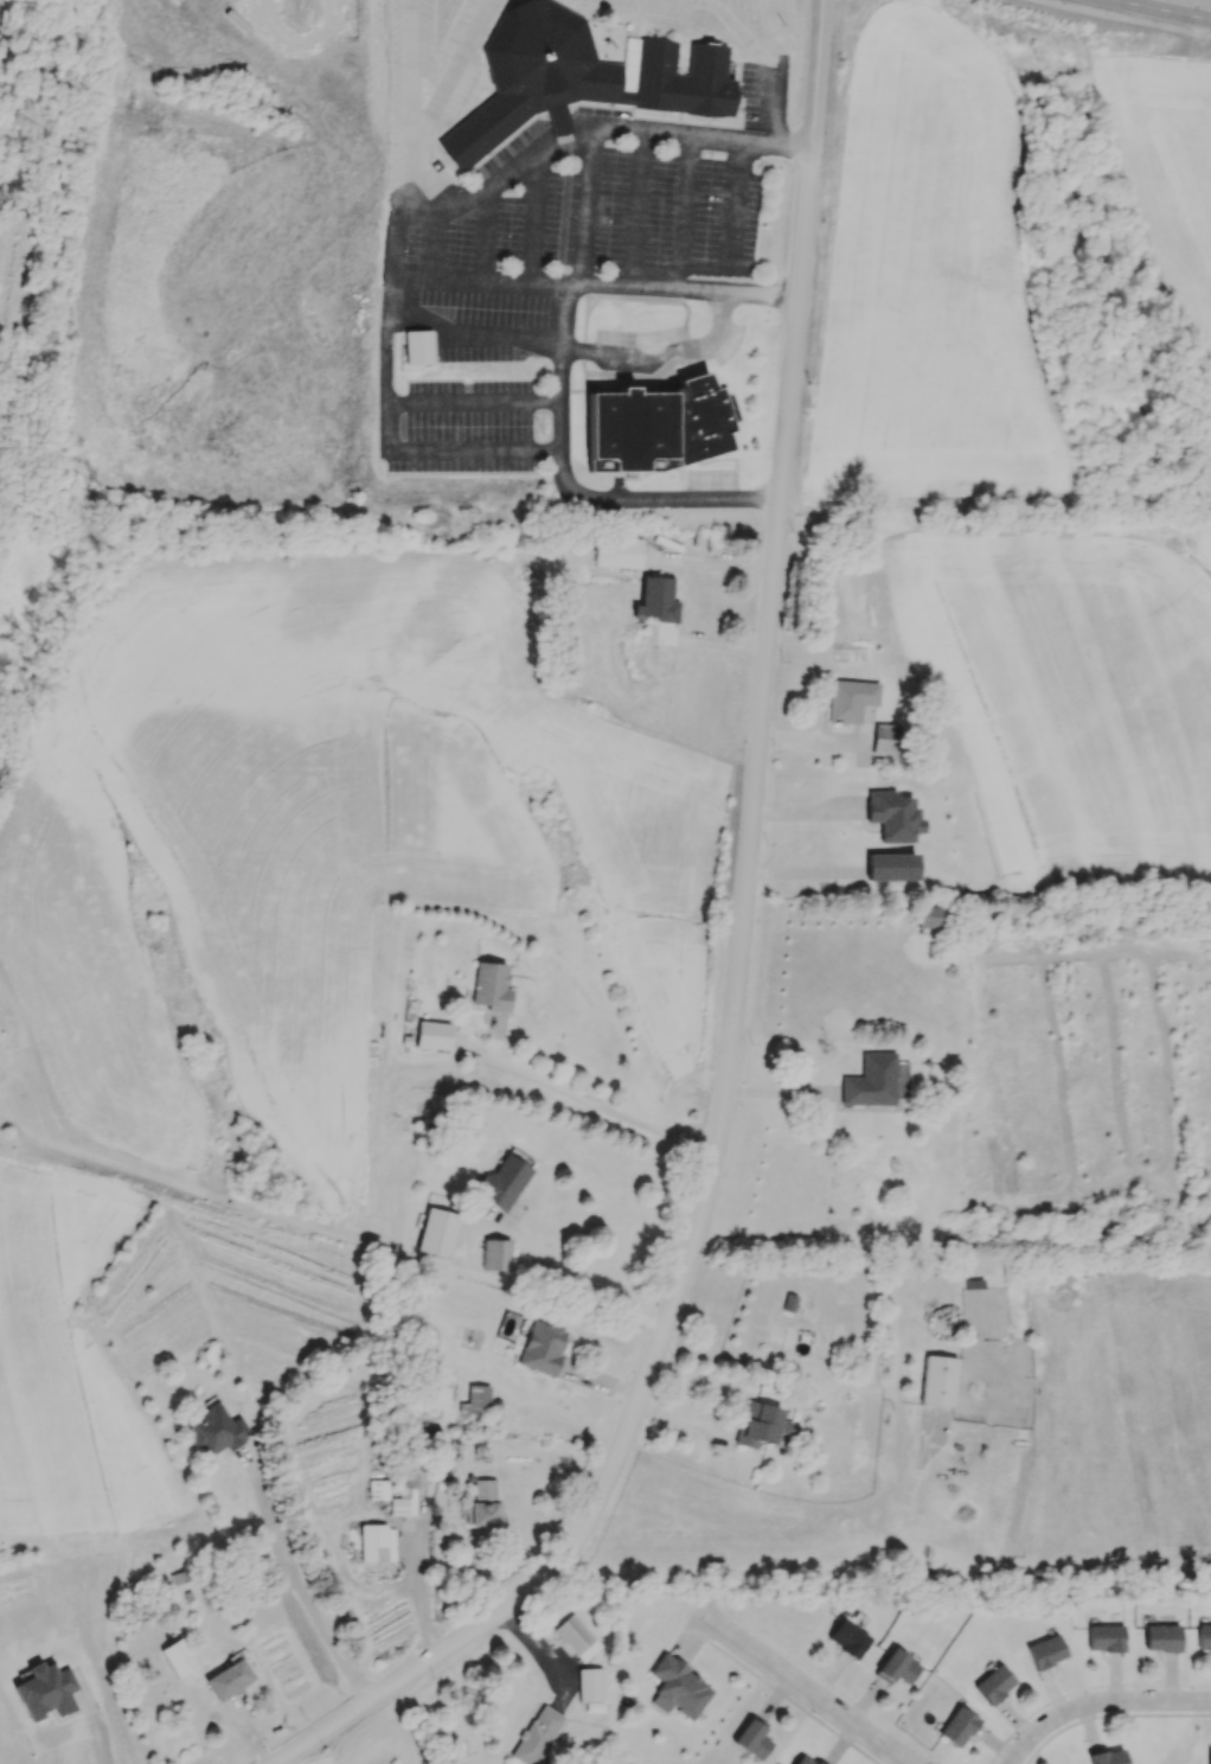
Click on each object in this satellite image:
road: (1160, 9)
road: (756, 59)
road: (448, 72)
building: (578, 77)
road: (814, 83)
road: (410, 114)
road: (565, 145)
road: (566, 164)
crop: (1168, 190)
parking lot: (582, 204)
road: (634, 211)
road: (680, 213)
road: (563, 217)
road: (732, 217)
road: (417, 218)
road: (532, 222)
road: (483, 237)
crop: (171, 249)
road: (432, 253)
road: (563, 274)
road: (594, 287)
crop: (934, 288)
road: (473, 333)
building: (417, 346)
road: (662, 353)
road: (473, 400)
building: (654, 427)
road: (574, 490)
building: (617, 551)
building: (656, 599)
crop: (1093, 688)
building: (850, 699)
building: (885, 739)
road: (803, 812)
building: (892, 816)
crop: (338, 848)
building: (890, 867)
building: (931, 916)
building: (491, 985)
building: (432, 1035)
road: (725, 1053)
building: (871, 1080)
road: (776, 1091)
road: (602, 1111)
building: (501, 1182)
road: (296, 1219)
building: (437, 1232)
building: (495, 1254)
building: (973, 1283)
road: (581, 1286)
building: (542, 1347)
building: (937, 1380)
building: (475, 1399)
building: (760, 1424)
building: (214, 1430)
building: (377, 1489)
building: (404, 1494)
building: (482, 1506)
building: (377, 1542)
road: (417, 1567)
road: (299, 1583)
building: (1204, 1636)
building: (576, 1638)
building: (847, 1638)
building: (1106, 1638)
building: (1161, 1638)
building: (1045, 1650)
building: (178, 1656)
road: (546, 1656)
building: (895, 1667)
building: (229, 1679)
building: (590, 1685)
building: (993, 1685)
building: (675, 1686)
building: (45, 1689)
road: (1084, 1689)
road: (807, 1692)
road: (792, 1701)
road: (1095, 1701)
building: (594, 1707)
road: (866, 1711)
road: (1108, 1714)
building: (957, 1725)
building: (539, 1737)
building: (751, 1738)
road: (98, 1741)
building: (1209, 1756)
building: (1106, 1757)
building: (801, 1760)
crop: (316, 1762)
building: (816, 1762)

